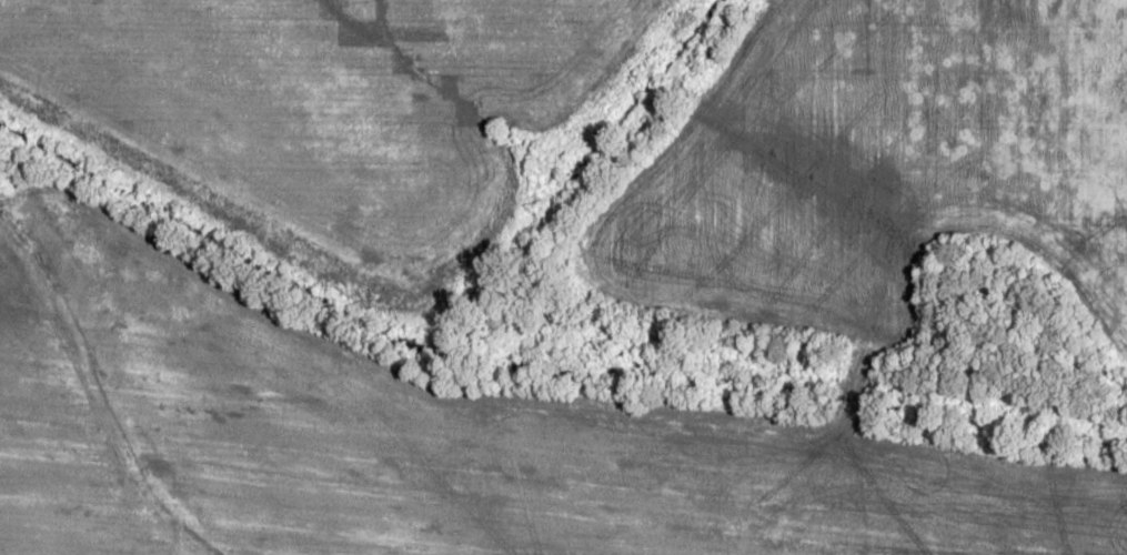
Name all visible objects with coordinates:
road: (90, 396)
road: (61, 478)

